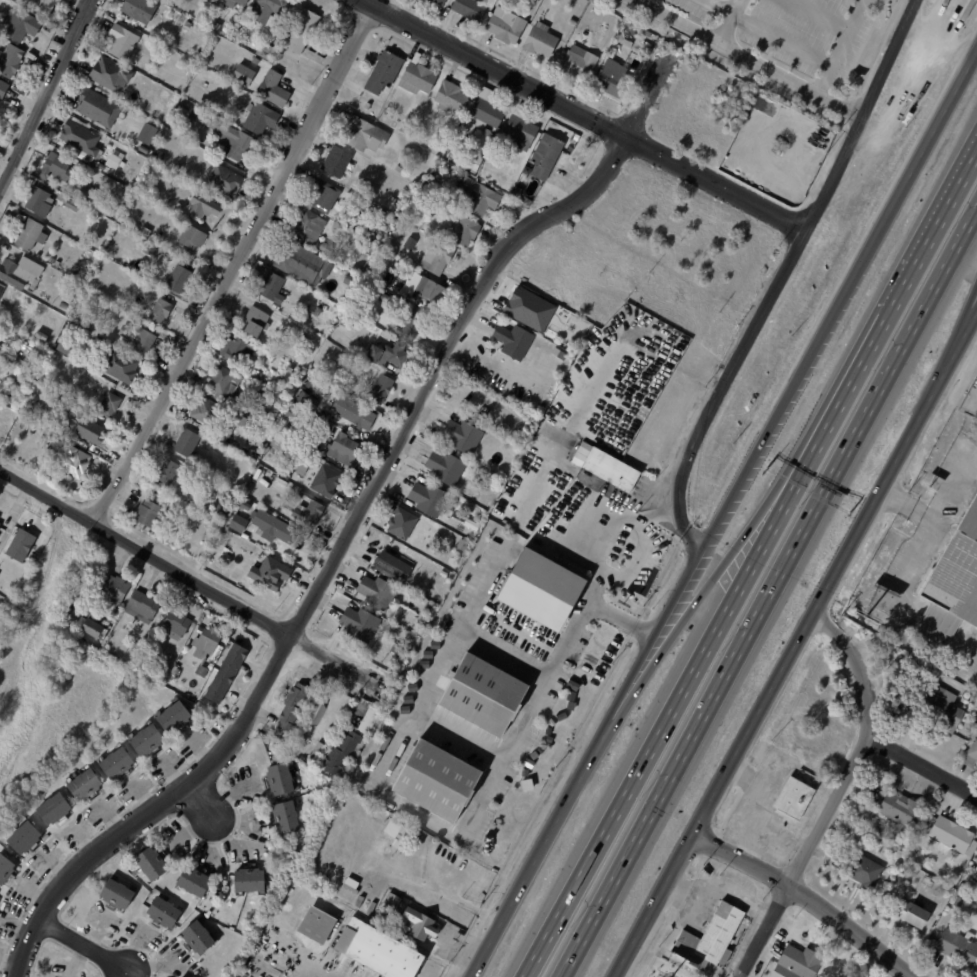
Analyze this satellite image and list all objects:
building: (171, 1)
building: (441, 2)
building: (231, 4)
building: (48, 5)
building: (142, 10)
building: (273, 10)
building: (474, 10)
road: (821, 16)
road: (731, 19)
building: (574, 21)
road: (677, 22)
building: (24, 25)
building: (218, 25)
building: (508, 26)
building: (304, 28)
building: (632, 30)
parking lot: (798, 30)
building: (604, 35)
road: (773, 36)
building: (543, 41)
building: (126, 44)
road: (846, 45)
building: (268, 50)
building: (11, 61)
building: (258, 61)
building: (581, 63)
building: (387, 72)
building: (111, 74)
building: (422, 76)
road: (795, 76)
building: (615, 79)
building: (4, 89)
building: (276, 90)
building: (453, 96)
road: (47, 97)
building: (369, 106)
building: (101, 108)
building: (488, 111)
road: (866, 114)
road: (583, 116)
building: (263, 119)
building: (407, 127)
building: (524, 128)
building: (147, 133)
building: (368, 134)
building: (79, 136)
building: (460, 136)
building: (494, 136)
building: (578, 138)
building: (236, 140)
building: (65, 148)
building: (145, 149)
building: (160, 156)
building: (549, 157)
building: (114, 158)
building: (491, 158)
building: (436, 161)
building: (340, 162)
building: (480, 163)
building: (58, 168)
building: (399, 168)
building: (227, 180)
building: (521, 192)
building: (89, 194)
building: (404, 194)
building: (328, 196)
building: (477, 196)
building: (40, 201)
building: (531, 201)
building: (74, 206)
building: (206, 206)
building: (384, 215)
building: (420, 217)
building: (398, 222)
building: (310, 227)
building: (467, 232)
building: (32, 235)
building: (194, 237)
building: (369, 247)
building: (328, 248)
building: (153, 251)
building: (52, 259)
building: (440, 259)
building: (58, 263)
building: (304, 263)
road: (233, 264)
building: (22, 272)
building: (180, 279)
building: (391, 280)
road: (906, 282)
building: (275, 287)
building: (429, 288)
building: (2, 291)
building: (340, 295)
building: (70, 299)
building: (388, 299)
building: (65, 306)
building: (125, 311)
building: (163, 312)
building: (318, 312)
building: (346, 314)
building: (257, 322)
building: (0, 325)
building: (414, 328)
building: (375, 329)
building: (77, 331)
building: (43, 335)
road: (954, 337)
building: (141, 340)
building: (517, 342)
building: (69, 347)
building: (239, 351)
building: (8, 353)
building: (386, 353)
building: (562, 354)
building: (122, 366)
building: (293, 370)
building: (225, 383)
building: (323, 384)
road: (725, 385)
building: (383, 389)
building: (281, 397)
building: (309, 399)
building: (257, 401)
building: (55, 403)
building: (111, 405)
building: (210, 412)
building: (354, 412)
building: (295, 414)
building: (245, 422)
building: (292, 428)
building: (93, 431)
building: (466, 438)
building: (57, 439)
building: (190, 444)
building: (282, 447)
building: (347, 450)
building: (517, 450)
building: (101, 453)
building: (75, 460)
building: (448, 468)
building: (280, 469)
building: (173, 472)
building: (616, 472)
building: (328, 481)
building: (222, 491)
building: (431, 500)
building: (225, 508)
road: (722, 509)
building: (208, 510)
road: (659, 511)
building: (151, 513)
building: (310, 513)
building: (0, 515)
road: (354, 521)
building: (238, 523)
building: (404, 523)
building: (0, 524)
building: (274, 527)
building: (209, 536)
road: (647, 536)
building: (20, 544)
building: (464, 544)
building: (283, 549)
building: (399, 566)
building: (273, 573)
road: (498, 573)
building: (445, 574)
building: (7, 579)
building: (955, 579)
road: (905, 580)
road: (195, 581)
building: (542, 587)
building: (113, 591)
building: (380, 592)
road: (766, 592)
road: (700, 593)
building: (145, 607)
building: (0, 616)
building: (178, 624)
building: (362, 625)
building: (96, 626)
building: (138, 644)
building: (208, 645)
road: (798, 645)
building: (134, 651)
building: (399, 651)
road: (553, 659)
building: (154, 660)
building: (204, 672)
building: (228, 673)
building: (574, 681)
building: (486, 694)
road: (679, 694)
building: (940, 704)
building: (296, 707)
building: (175, 715)
road: (461, 730)
building: (148, 740)
building: (284, 744)
building: (354, 744)
building: (972, 750)
building: (319, 754)
road: (505, 755)
building: (535, 756)
road: (924, 760)
building: (118, 763)
building: (528, 764)
building: (281, 779)
building: (439, 781)
building: (86, 785)
road: (836, 794)
building: (519, 797)
building: (794, 797)
road: (201, 800)
building: (508, 803)
building: (900, 808)
building: (55, 809)
building: (508, 815)
building: (290, 817)
building: (879, 828)
building: (399, 830)
building: (898, 830)
building: (951, 833)
building: (26, 838)
road: (229, 840)
building: (835, 847)
building: (953, 861)
building: (154, 864)
building: (6, 869)
building: (864, 870)
building: (913, 870)
building: (196, 881)
building: (251, 881)
building: (960, 886)
building: (968, 890)
building: (119, 895)
road: (806, 899)
building: (394, 901)
building: (958, 903)
building: (165, 912)
building: (908, 915)
building: (422, 925)
building: (323, 927)
building: (200, 937)
building: (711, 938)
road: (83, 945)
building: (958, 945)
building: (381, 951)
building: (800, 961)
road: (317, 976)

